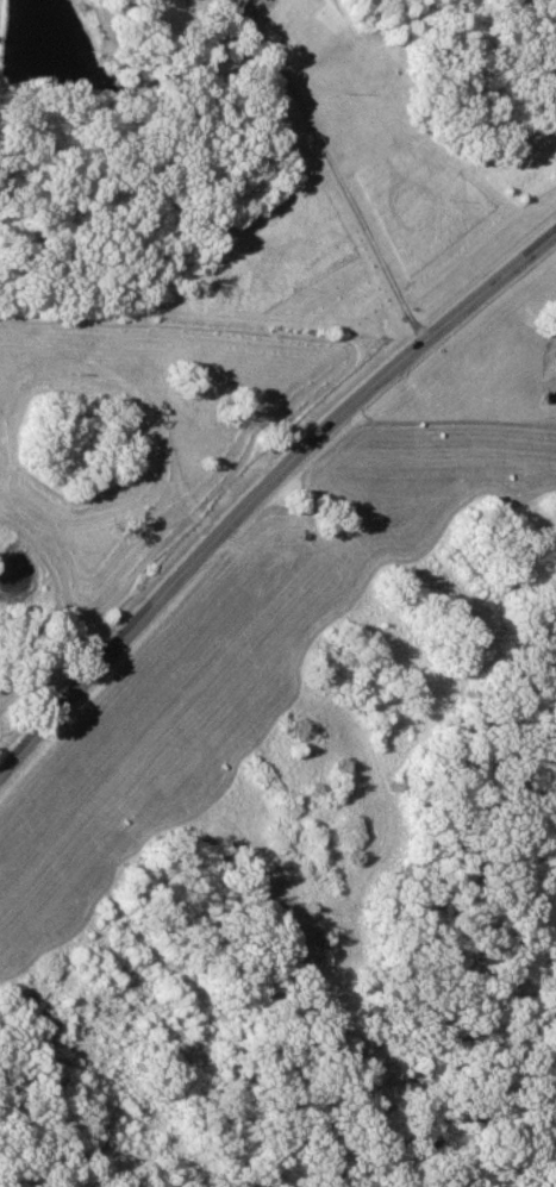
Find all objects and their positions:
building: (256, 1)
road: (330, 163)
road: (261, 481)

